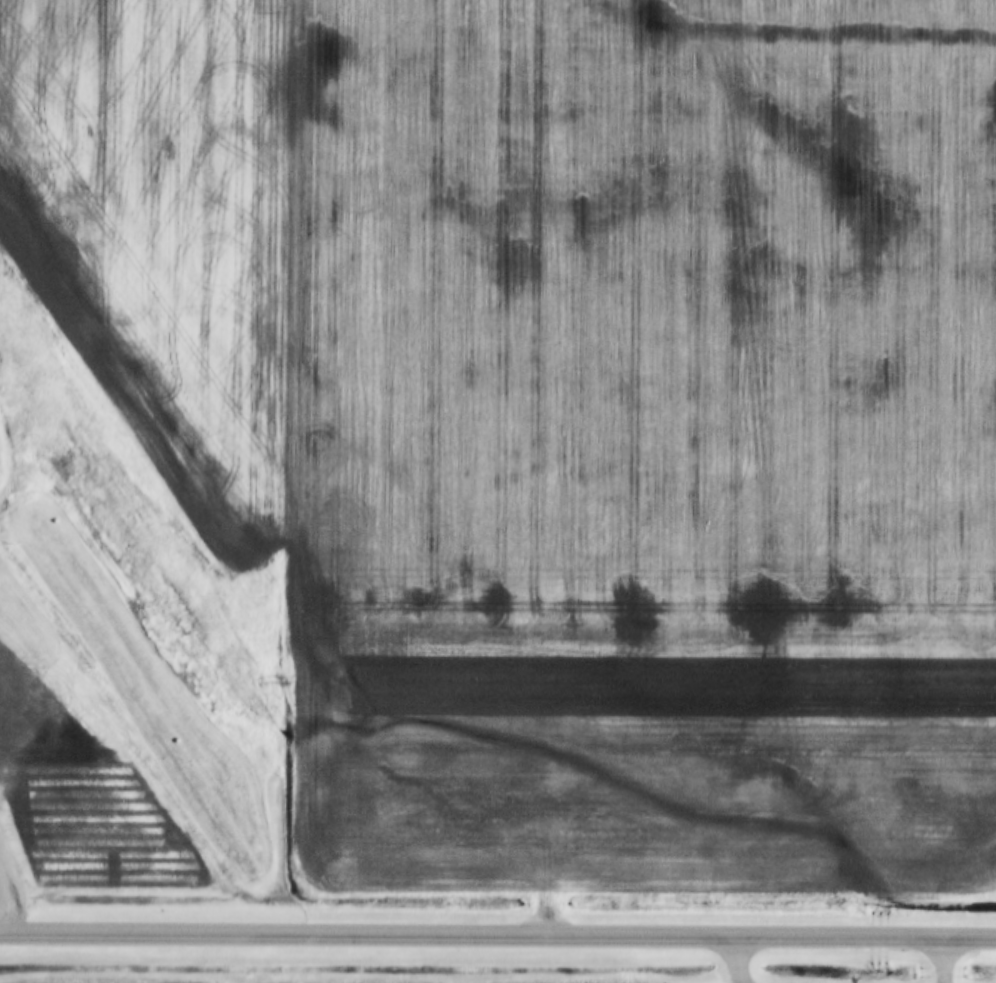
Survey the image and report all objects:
road: (498, 938)
road: (733, 960)
road: (940, 960)
crop: (319, 976)

